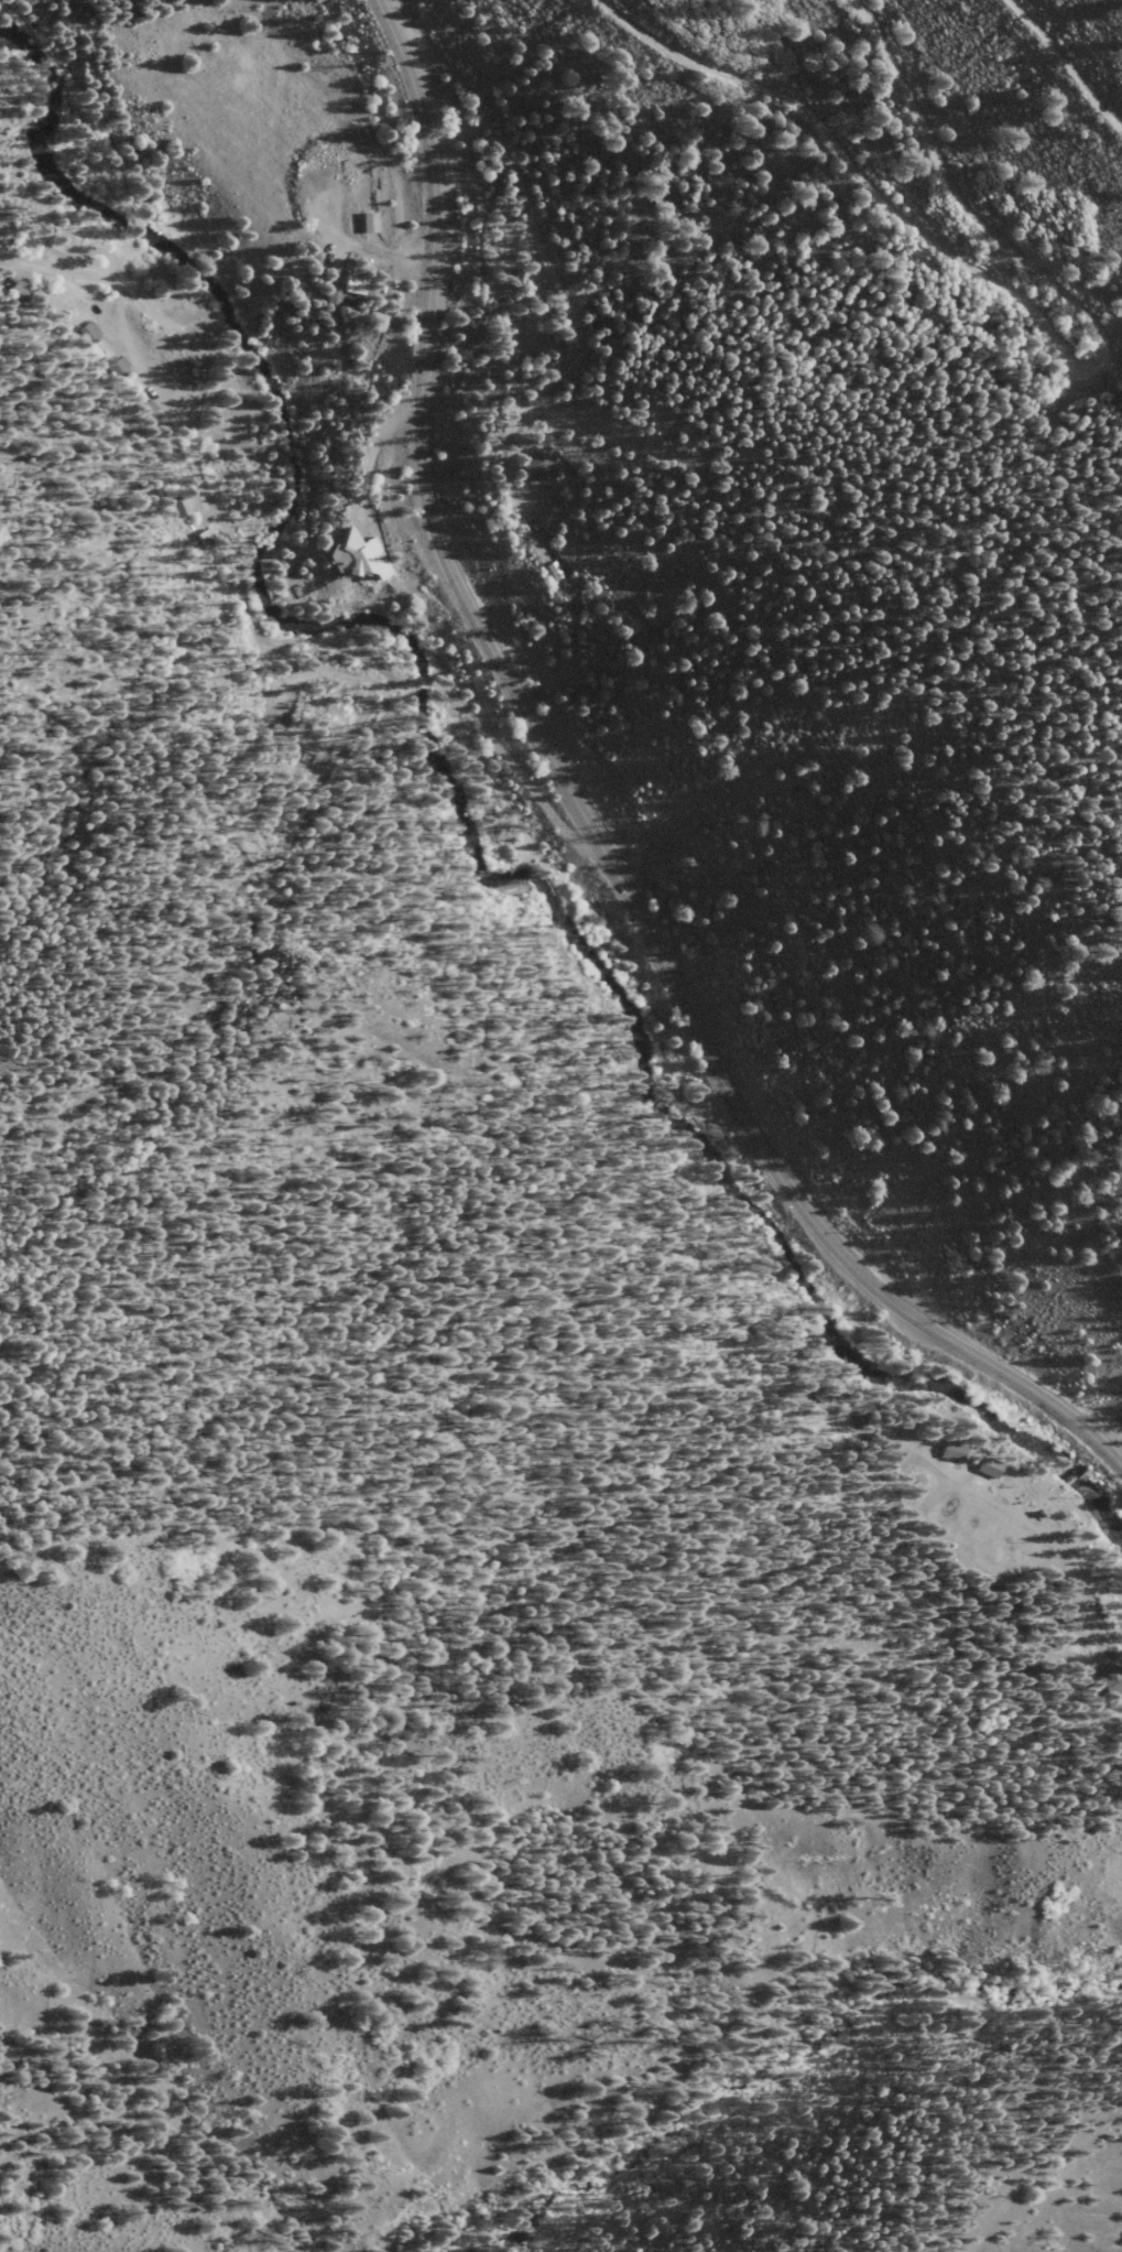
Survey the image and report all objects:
road: (1061, 64)
building: (370, 221)
road: (548, 275)
building: (334, 295)
road: (1039, 327)
building: (540, 464)
building: (359, 556)
road: (880, 632)
road: (580, 818)
road: (1116, 880)
building: (955, 1450)
building: (991, 1465)
road: (1021, 1529)
road: (765, 2090)

